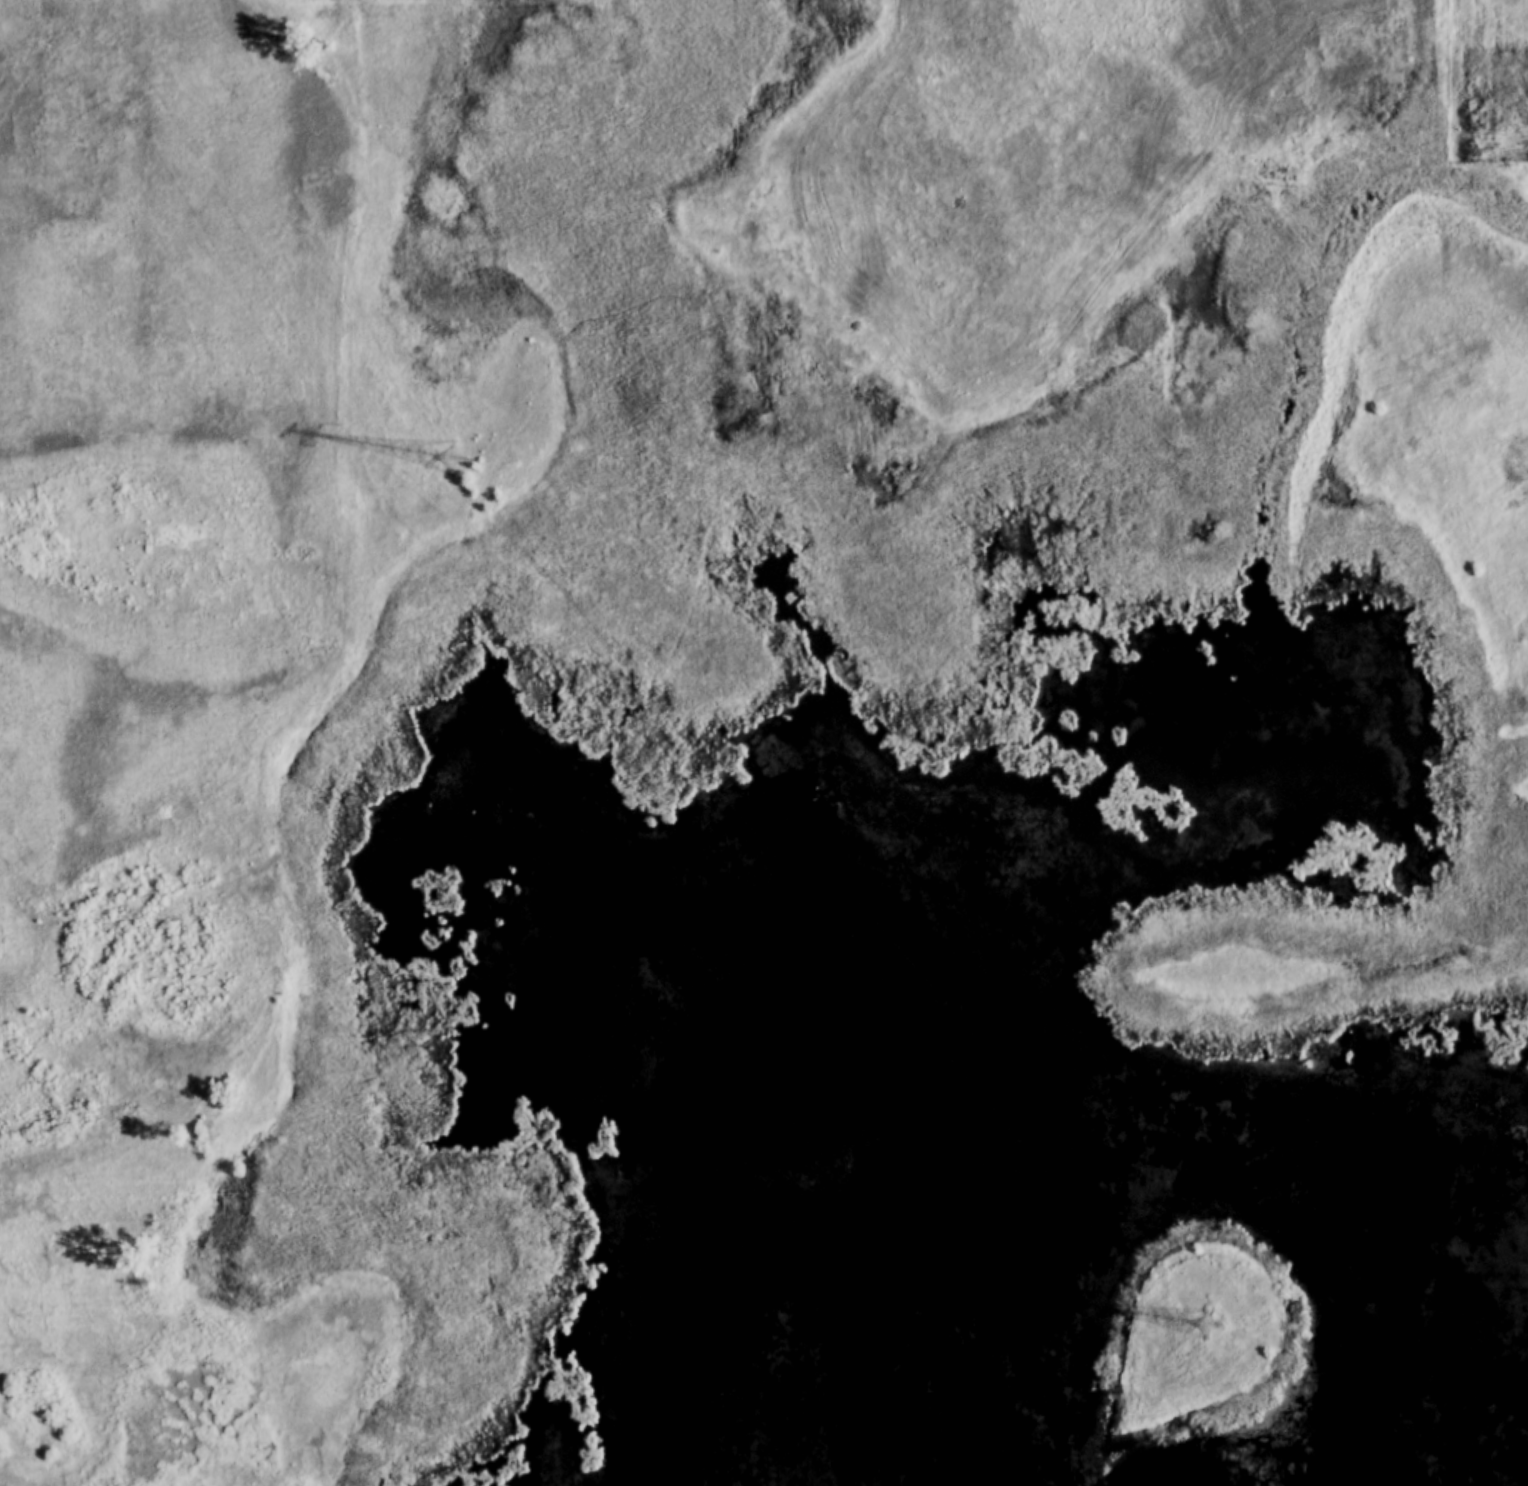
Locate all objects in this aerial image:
road: (1288, 17)
power tower: (458, 465)
power tower: (1212, 1332)

